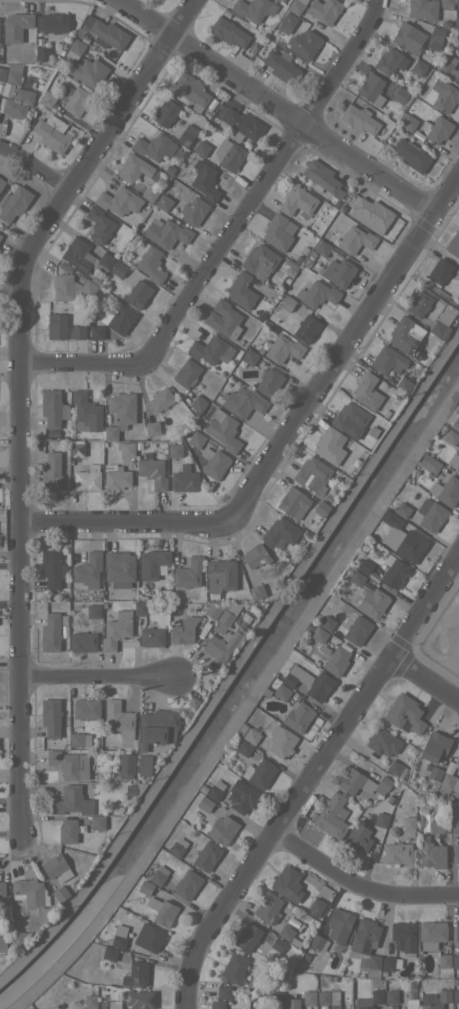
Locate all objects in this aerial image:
building: (282, 0)
building: (278, 1)
building: (446, 2)
building: (295, 6)
building: (253, 8)
building: (422, 8)
building: (324, 10)
building: (225, 13)
building: (52, 22)
building: (286, 22)
building: (16, 25)
building: (456, 26)
building: (79, 31)
building: (228, 32)
building: (105, 33)
building: (408, 37)
building: (85, 38)
building: (437, 38)
building: (307, 43)
building: (75, 48)
building: (253, 49)
building: (42, 53)
building: (390, 61)
building: (458, 63)
building: (282, 66)
building: (418, 67)
building: (448, 67)
building: (88, 71)
building: (2, 73)
building: (12, 77)
building: (458, 78)
building: (371, 89)
building: (191, 91)
building: (399, 94)
building: (442, 95)
building: (47, 98)
building: (76, 100)
building: (18, 103)
road: (274, 103)
building: (165, 112)
building: (205, 114)
building: (359, 119)
building: (408, 122)
building: (242, 125)
building: (434, 129)
building: (52, 133)
building: (187, 135)
building: (153, 146)
building: (201, 148)
building: (228, 154)
building: (411, 155)
building: (133, 167)
road: (36, 169)
building: (169, 169)
building: (322, 179)
building: (205, 180)
building: (1, 183)
building: (149, 193)
building: (118, 201)
building: (297, 201)
building: (163, 202)
building: (13, 203)
building: (193, 211)
building: (370, 214)
building: (99, 225)
building: (278, 232)
building: (166, 233)
road: (235, 233)
building: (0, 235)
building: (0, 238)
building: (355, 240)
building: (453, 244)
building: (105, 246)
building: (322, 248)
building: (334, 253)
building: (77, 254)
building: (310, 254)
building: (298, 259)
building: (105, 260)
building: (149, 261)
building: (259, 261)
building: (306, 262)
building: (65, 266)
building: (120, 267)
building: (290, 271)
building: (440, 271)
building: (337, 272)
building: (96, 278)
building: (286, 278)
building: (253, 283)
building: (458, 284)
road: (431, 287)
building: (70, 288)
building: (241, 290)
building: (138, 293)
road: (11, 294)
building: (317, 294)
building: (418, 304)
building: (284, 307)
building: (260, 315)
building: (119, 319)
building: (223, 319)
building: (442, 323)
building: (56, 326)
building: (306, 328)
building: (78, 332)
building: (96, 332)
building: (403, 335)
building: (210, 349)
building: (260, 349)
building: (282, 349)
building: (248, 358)
building: (387, 360)
building: (424, 360)
building: (186, 373)
building: (393, 378)
building: (269, 382)
building: (403, 385)
building: (367, 391)
road: (25, 393)
building: (160, 399)
building: (242, 401)
building: (197, 403)
building: (53, 408)
building: (122, 408)
building: (86, 413)
building: (386, 413)
building: (350, 419)
building: (455, 424)
building: (151, 428)
building: (442, 428)
building: (222, 429)
building: (373, 430)
building: (110, 432)
building: (52, 433)
building: (450, 437)
building: (195, 439)
road: (289, 439)
building: (138, 445)
building: (330, 445)
building: (77, 449)
building: (127, 449)
building: (174, 450)
building: (92, 460)
building: (454, 460)
building: (214, 462)
building: (429, 464)
building: (51, 471)
building: (152, 472)
building: (312, 474)
building: (87, 478)
building: (117, 478)
building: (184, 479)
building: (446, 490)
building: (329, 500)
building: (293, 503)
building: (321, 508)
building: (402, 510)
building: (430, 514)
building: (394, 521)
building: (281, 532)
building: (409, 546)
building: (177, 551)
road: (12, 554)
building: (256, 557)
building: (152, 563)
building: (119, 566)
building: (364, 567)
building: (52, 568)
building: (88, 570)
building: (394, 571)
building: (346, 572)
building: (187, 573)
building: (221, 575)
building: (374, 577)
building: (356, 578)
building: (257, 591)
building: (174, 595)
building: (246, 596)
road: (11, 603)
building: (372, 603)
building: (140, 608)
building: (93, 611)
building: (212, 611)
building: (226, 616)
building: (318, 616)
building: (327, 623)
building: (309, 625)
building: (116, 629)
building: (357, 630)
building: (51, 631)
building: (181, 634)
building: (319, 635)
building: (151, 636)
building: (83, 641)
building: (223, 644)
building: (299, 648)
building: (324, 650)
building: (337, 659)
road: (100, 678)
building: (308, 682)
road: (425, 683)
building: (281, 692)
building: (193, 702)
building: (86, 708)
building: (404, 714)
building: (298, 716)
building: (51, 717)
building: (119, 719)
building: (157, 728)
building: (248, 734)
building: (94, 737)
building: (79, 739)
building: (281, 741)
building: (383, 742)
building: (435, 746)
building: (243, 747)
building: (457, 760)
building: (69, 764)
building: (144, 765)
building: (123, 767)
building: (449, 767)
building: (458, 769)
building: (397, 770)
building: (259, 773)
building: (434, 775)
building: (100, 777)
road: (307, 780)
building: (449, 782)
building: (362, 783)
building: (215, 790)
building: (242, 797)
building: (70, 800)
building: (202, 801)
building: (332, 816)
building: (381, 820)
building: (98, 822)
building: (408, 823)
building: (438, 826)
building: (454, 826)
building: (222, 829)
building: (67, 831)
building: (392, 832)
building: (357, 840)
building: (177, 847)
building: (430, 852)
building: (397, 853)
building: (190, 854)
building: (456, 854)
building: (206, 856)
building: (56, 868)
building: (158, 875)
road: (358, 882)
building: (187, 884)
building: (287, 884)
building: (145, 887)
building: (2, 888)
building: (30, 893)
building: (60, 893)
building: (268, 907)
building: (316, 907)
building: (162, 911)
building: (338, 927)
building: (457, 930)
building: (431, 934)
building: (288, 935)
building: (118, 936)
building: (403, 936)
building: (148, 937)
building: (247, 937)
building: (18, 938)
building: (318, 942)
building: (2, 943)
building: (277, 944)
building: (366, 947)
building: (109, 953)
building: (305, 956)
building: (455, 960)
building: (443, 961)
building: (389, 964)
building: (235, 967)
building: (136, 973)
building: (328, 977)
building: (334, 977)
building: (455, 980)
building: (101, 987)
building: (224, 992)
building: (455, 995)
building: (390, 996)
building: (275, 997)
building: (309, 998)
building: (328, 998)
building: (140, 999)
building: (435, 999)
building: (372, 1000)
building: (90, 1001)
building: (291, 1003)
building: (110, 1004)
building: (217, 1004)
building: (323, 1007)

